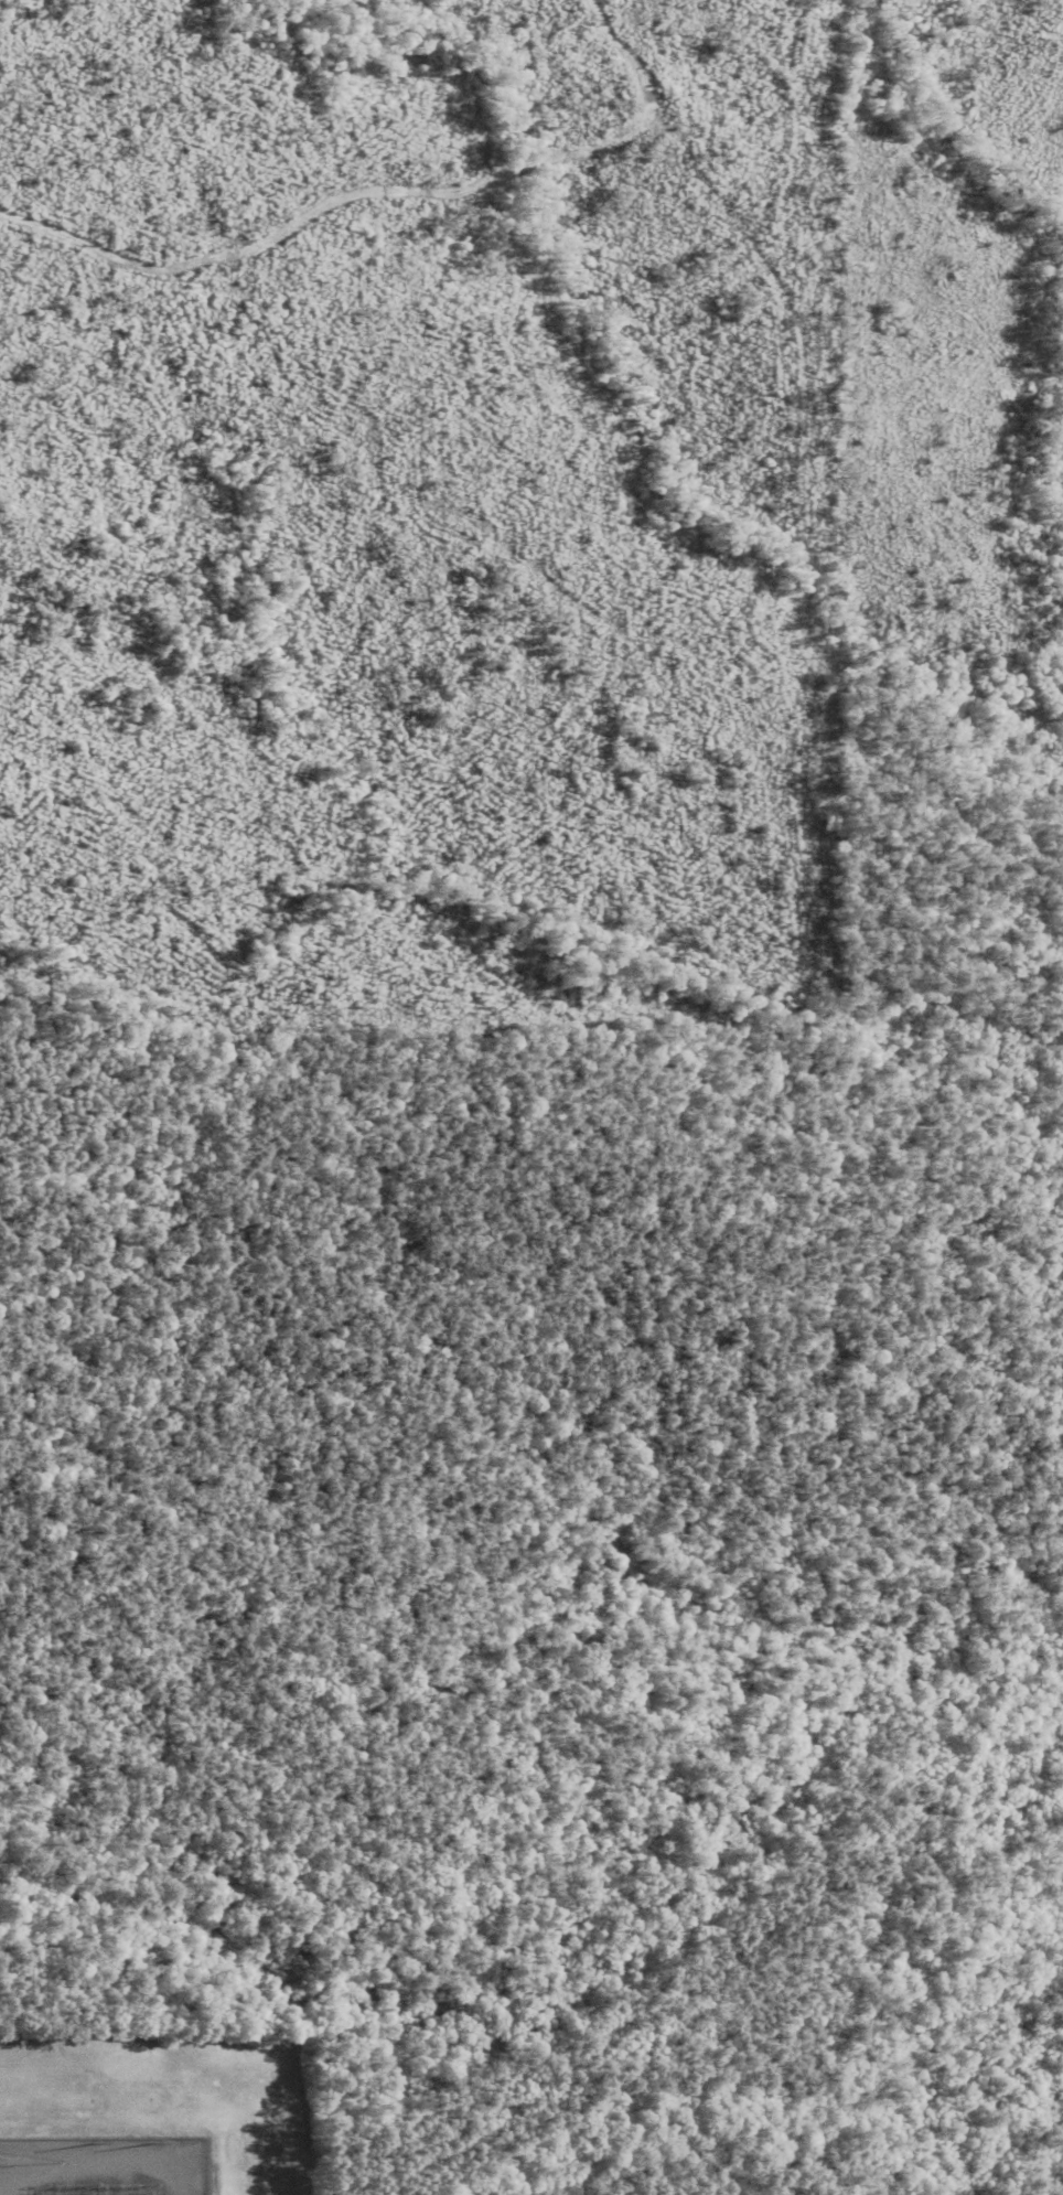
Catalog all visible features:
power substation: (104, 2165)

